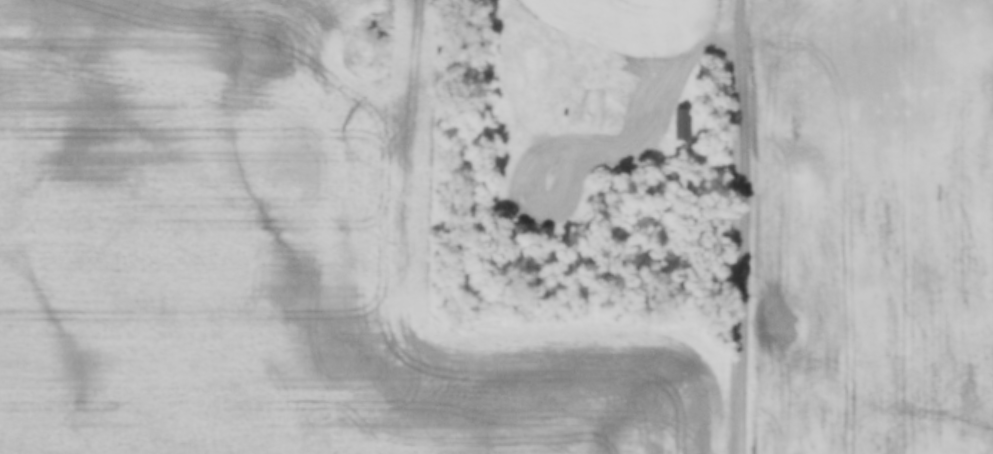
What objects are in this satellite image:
road: (641, 115)
building: (680, 125)
road: (749, 226)
building: (520, 234)
building: (545, 236)

